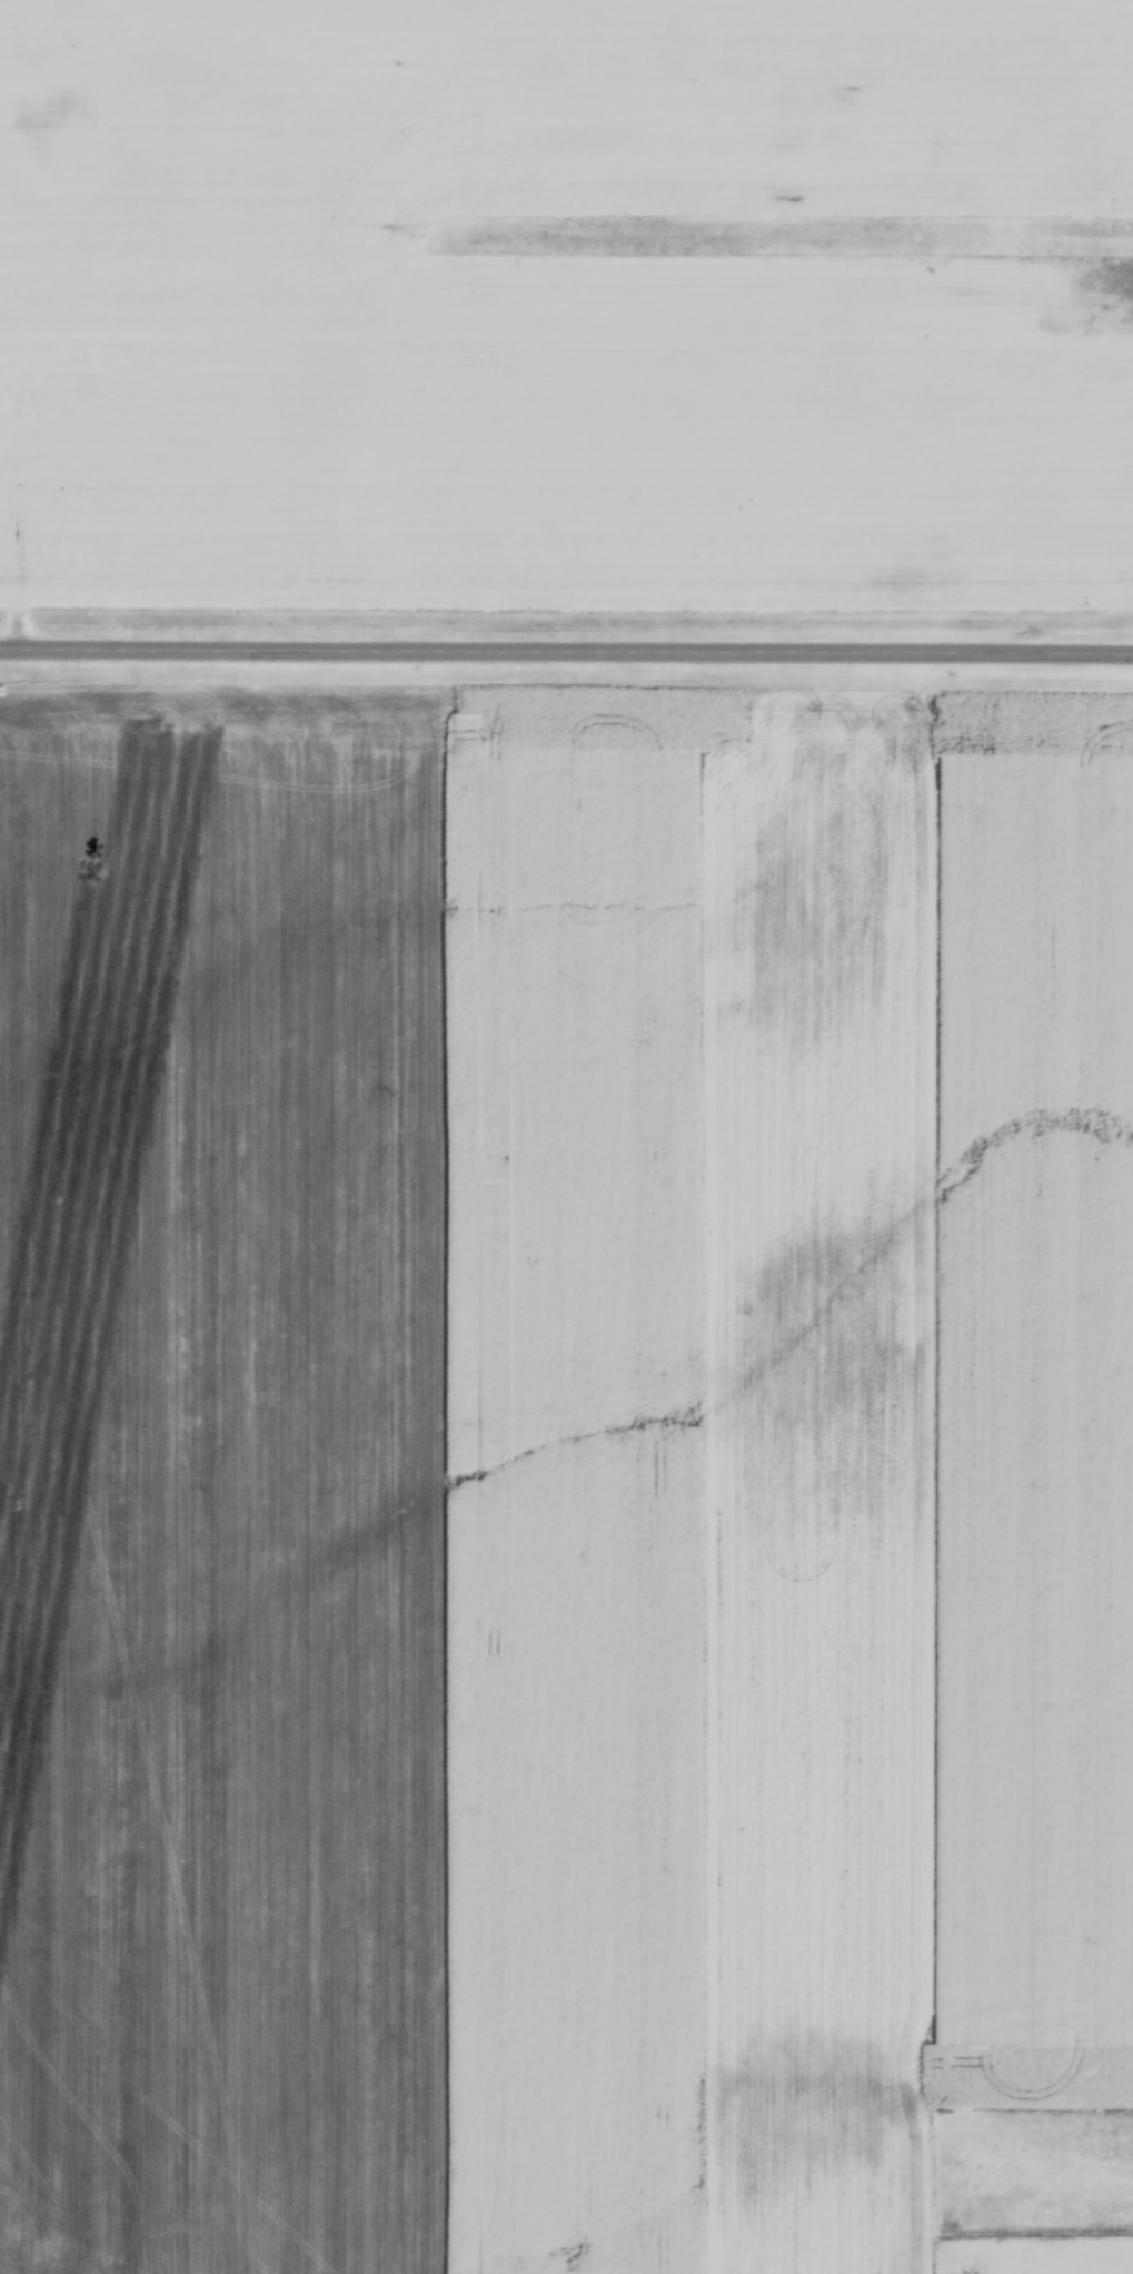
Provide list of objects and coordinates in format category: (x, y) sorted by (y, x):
road: (566, 649)

